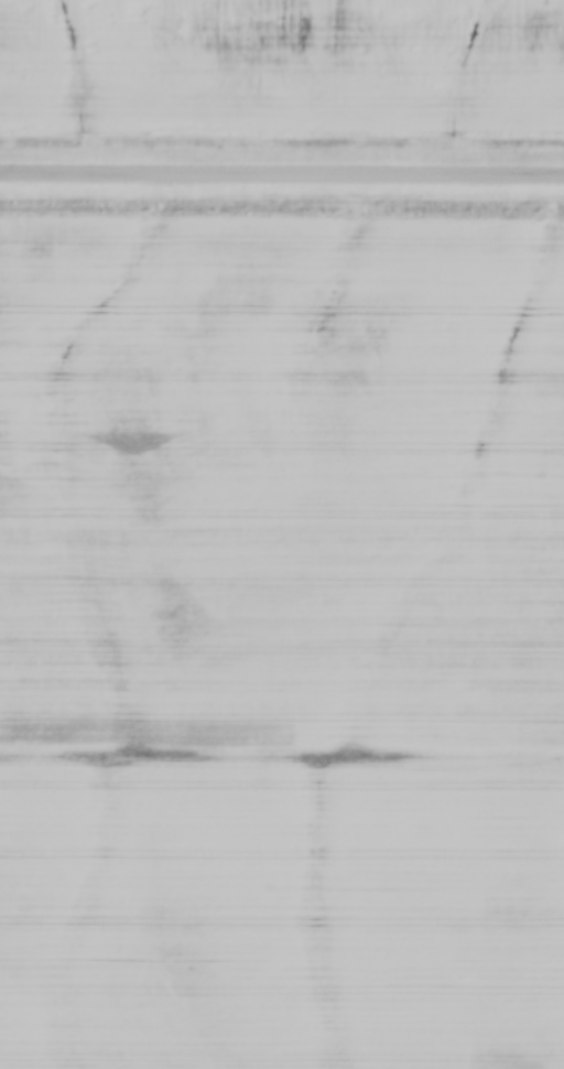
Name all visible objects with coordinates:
crop: (283, 62)
crop: (281, 645)

